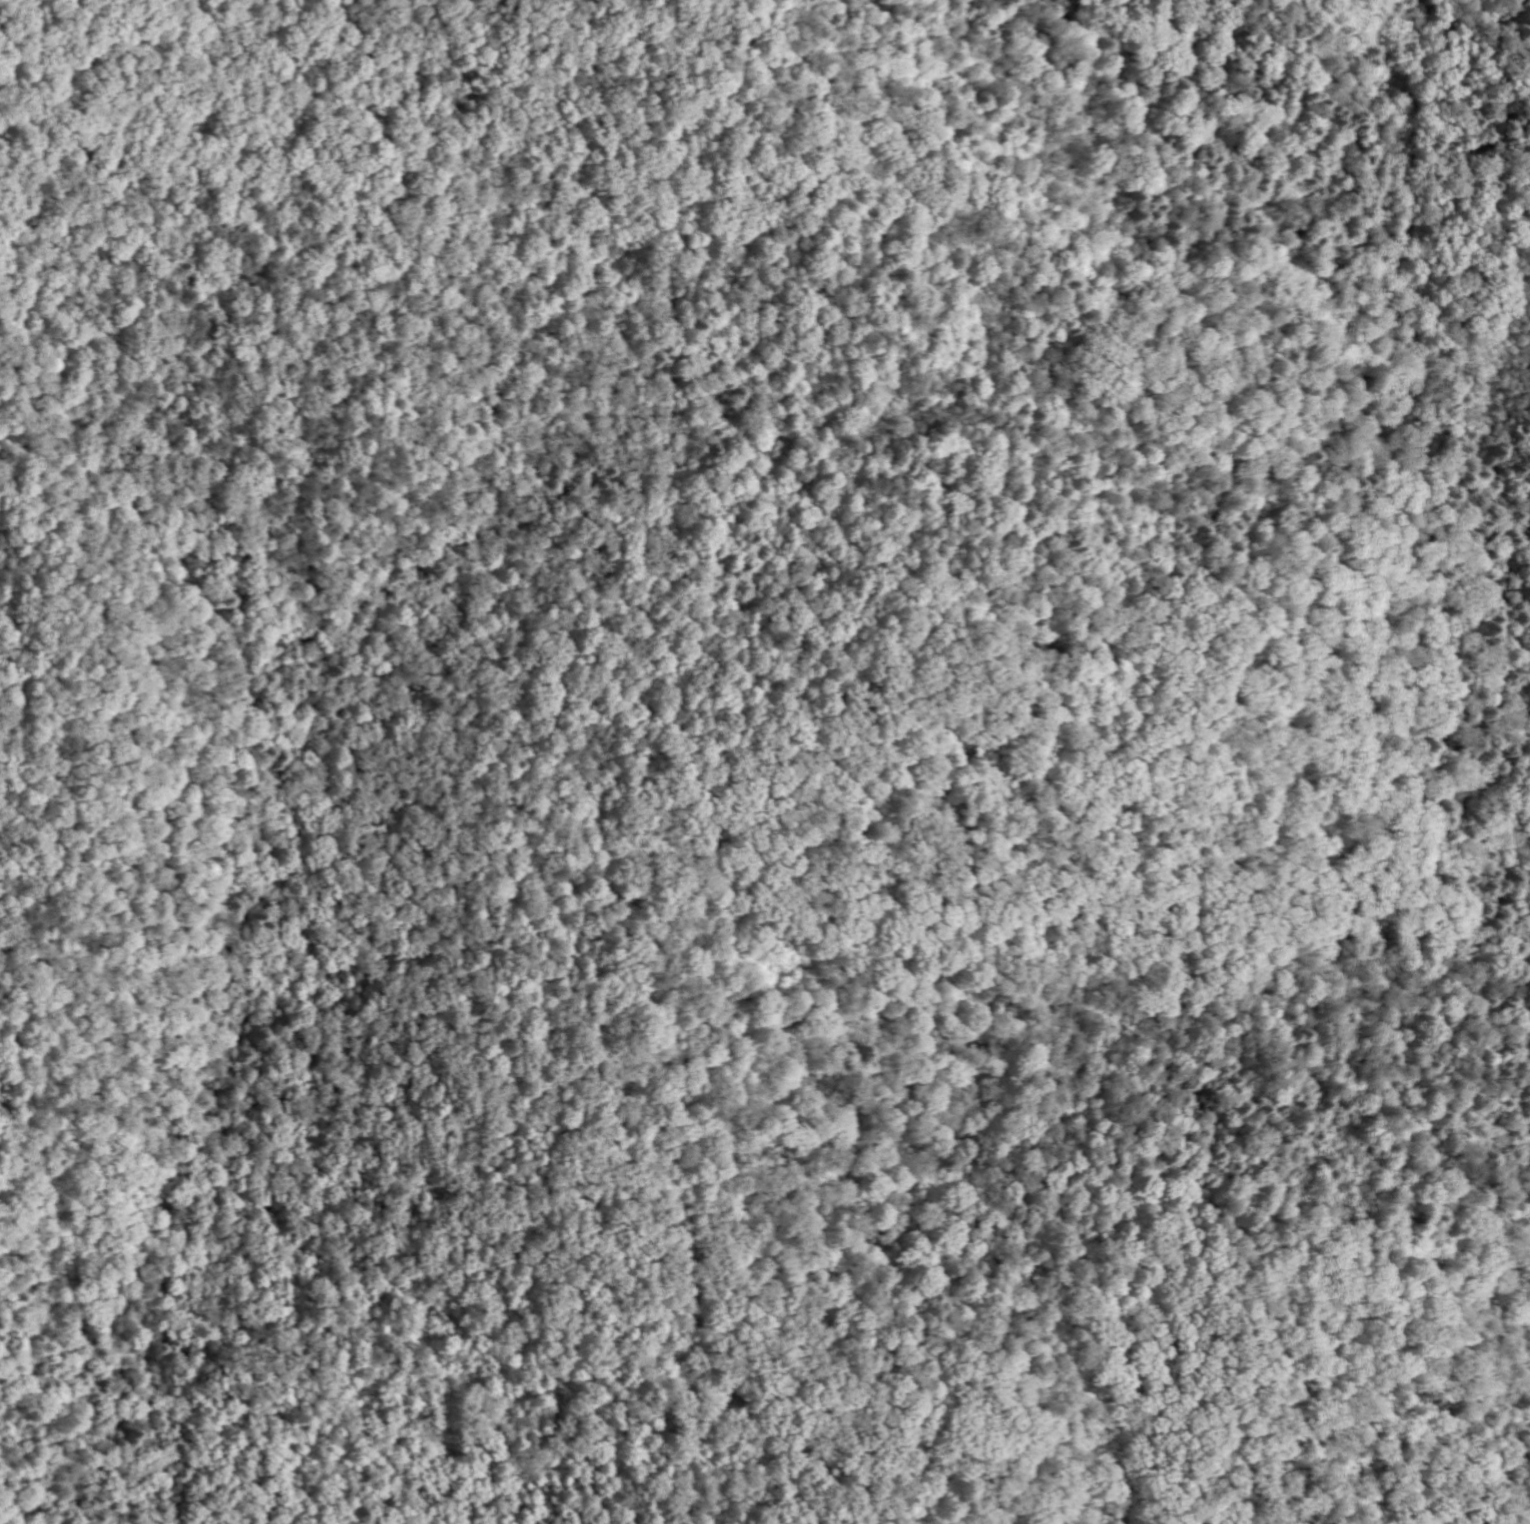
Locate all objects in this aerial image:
road: (682, 331)
road: (1080, 945)
road: (1469, 955)
road: (648, 1213)

